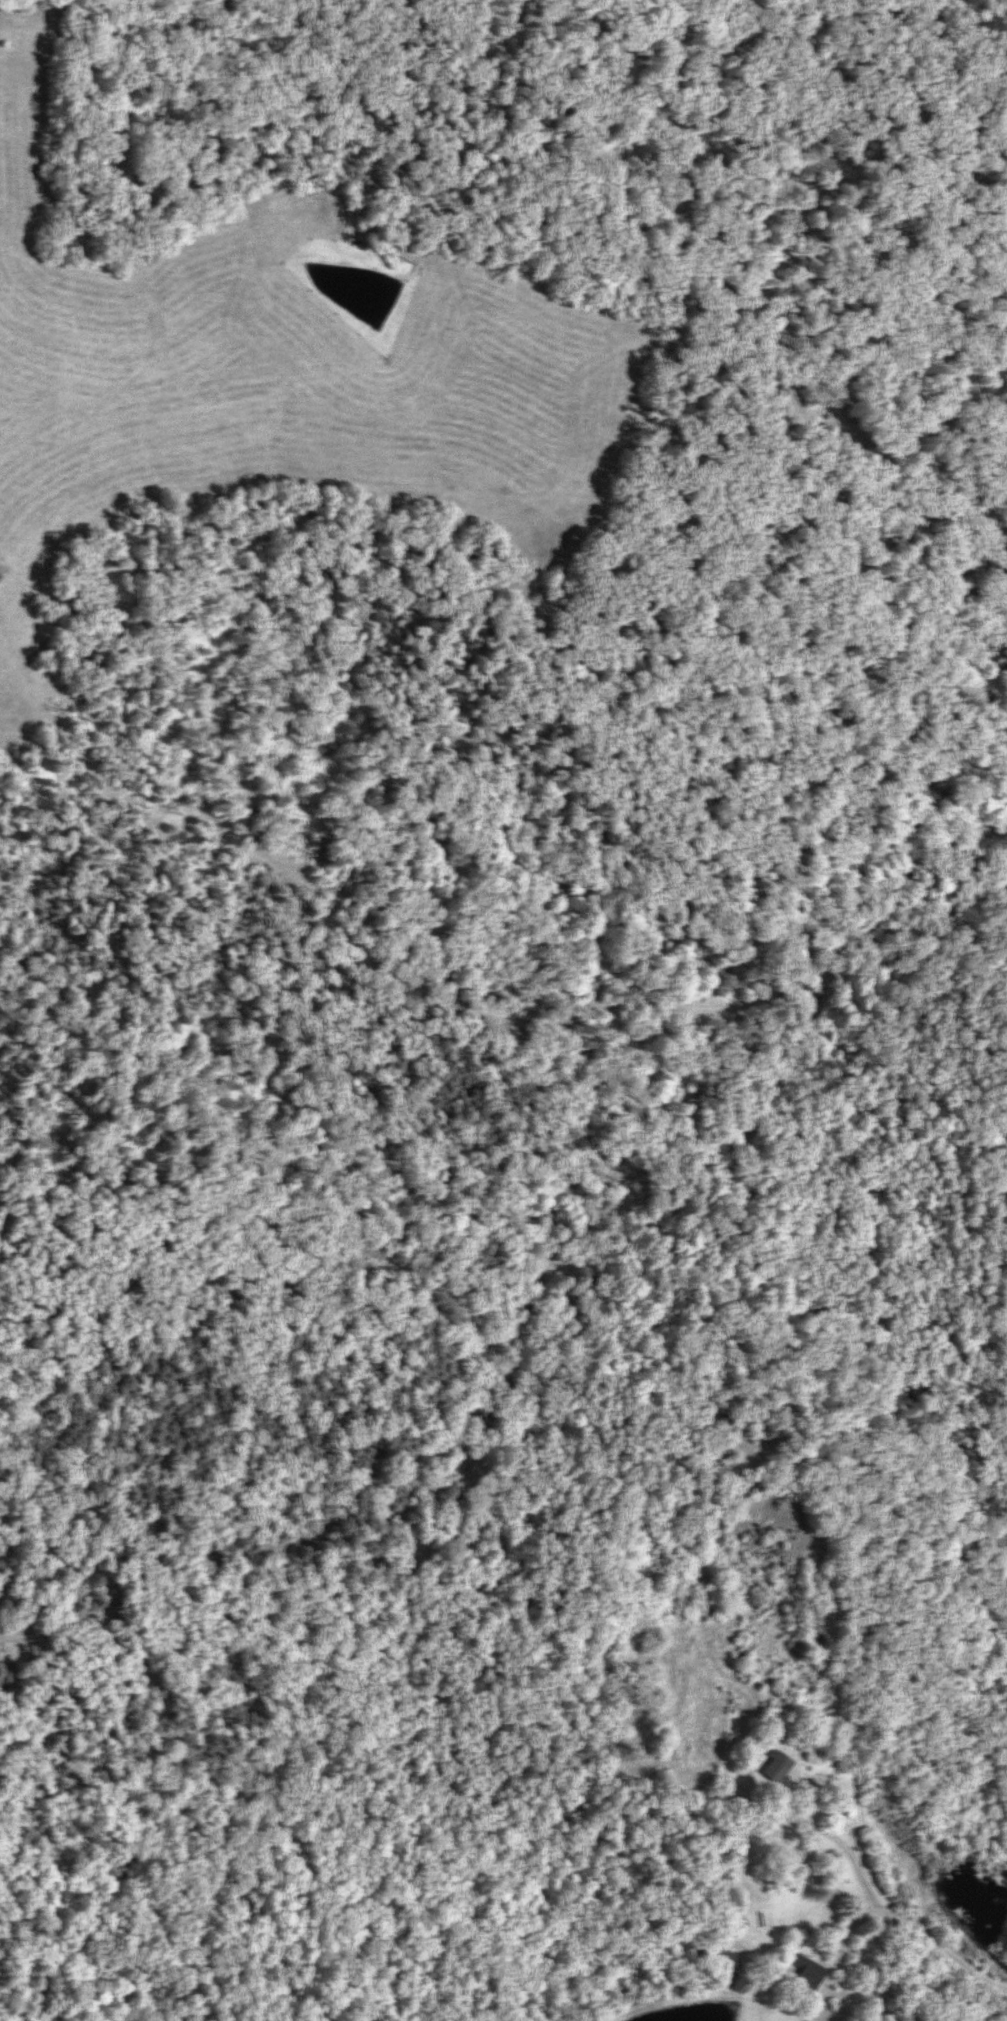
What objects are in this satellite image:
building: (640, 1619)
building: (776, 1769)
road: (868, 1886)
building: (720, 1965)
building: (806, 1975)
road: (825, 1985)
road: (823, 2017)
road: (839, 2018)

